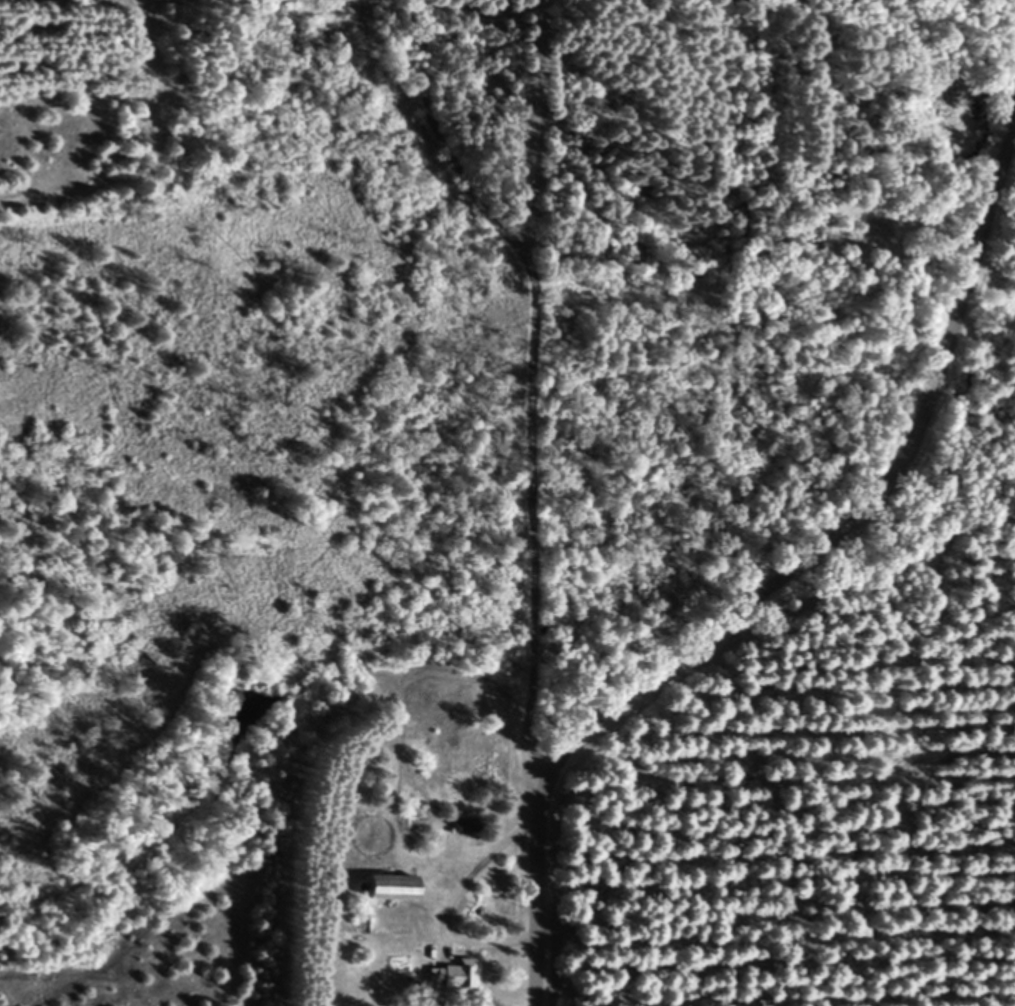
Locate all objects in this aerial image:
road: (473, 181)
road: (536, 390)
road: (779, 579)
building: (379, 887)
road: (456, 907)
building: (451, 975)

